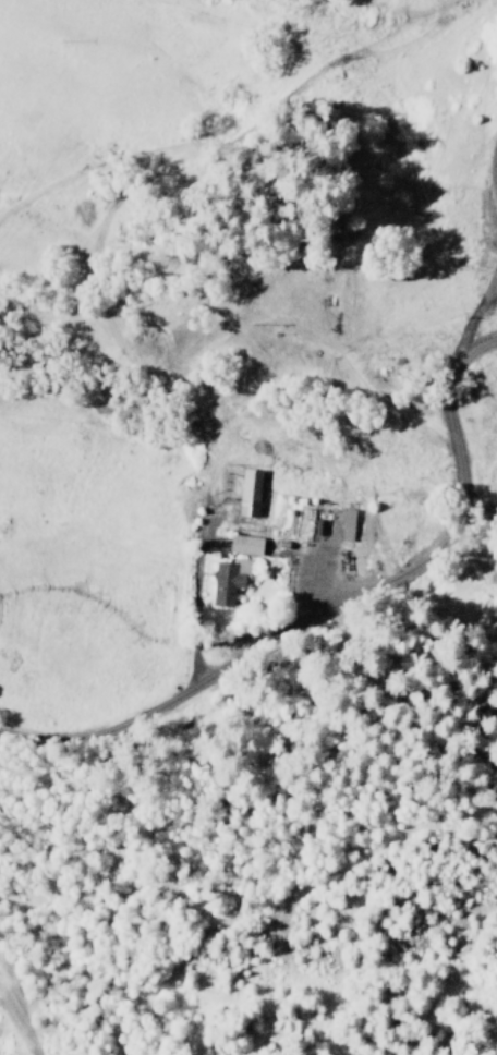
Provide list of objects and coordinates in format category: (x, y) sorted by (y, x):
road: (495, 190)
building: (250, 492)
building: (348, 524)
building: (246, 544)
building: (229, 581)
road: (359, 603)

